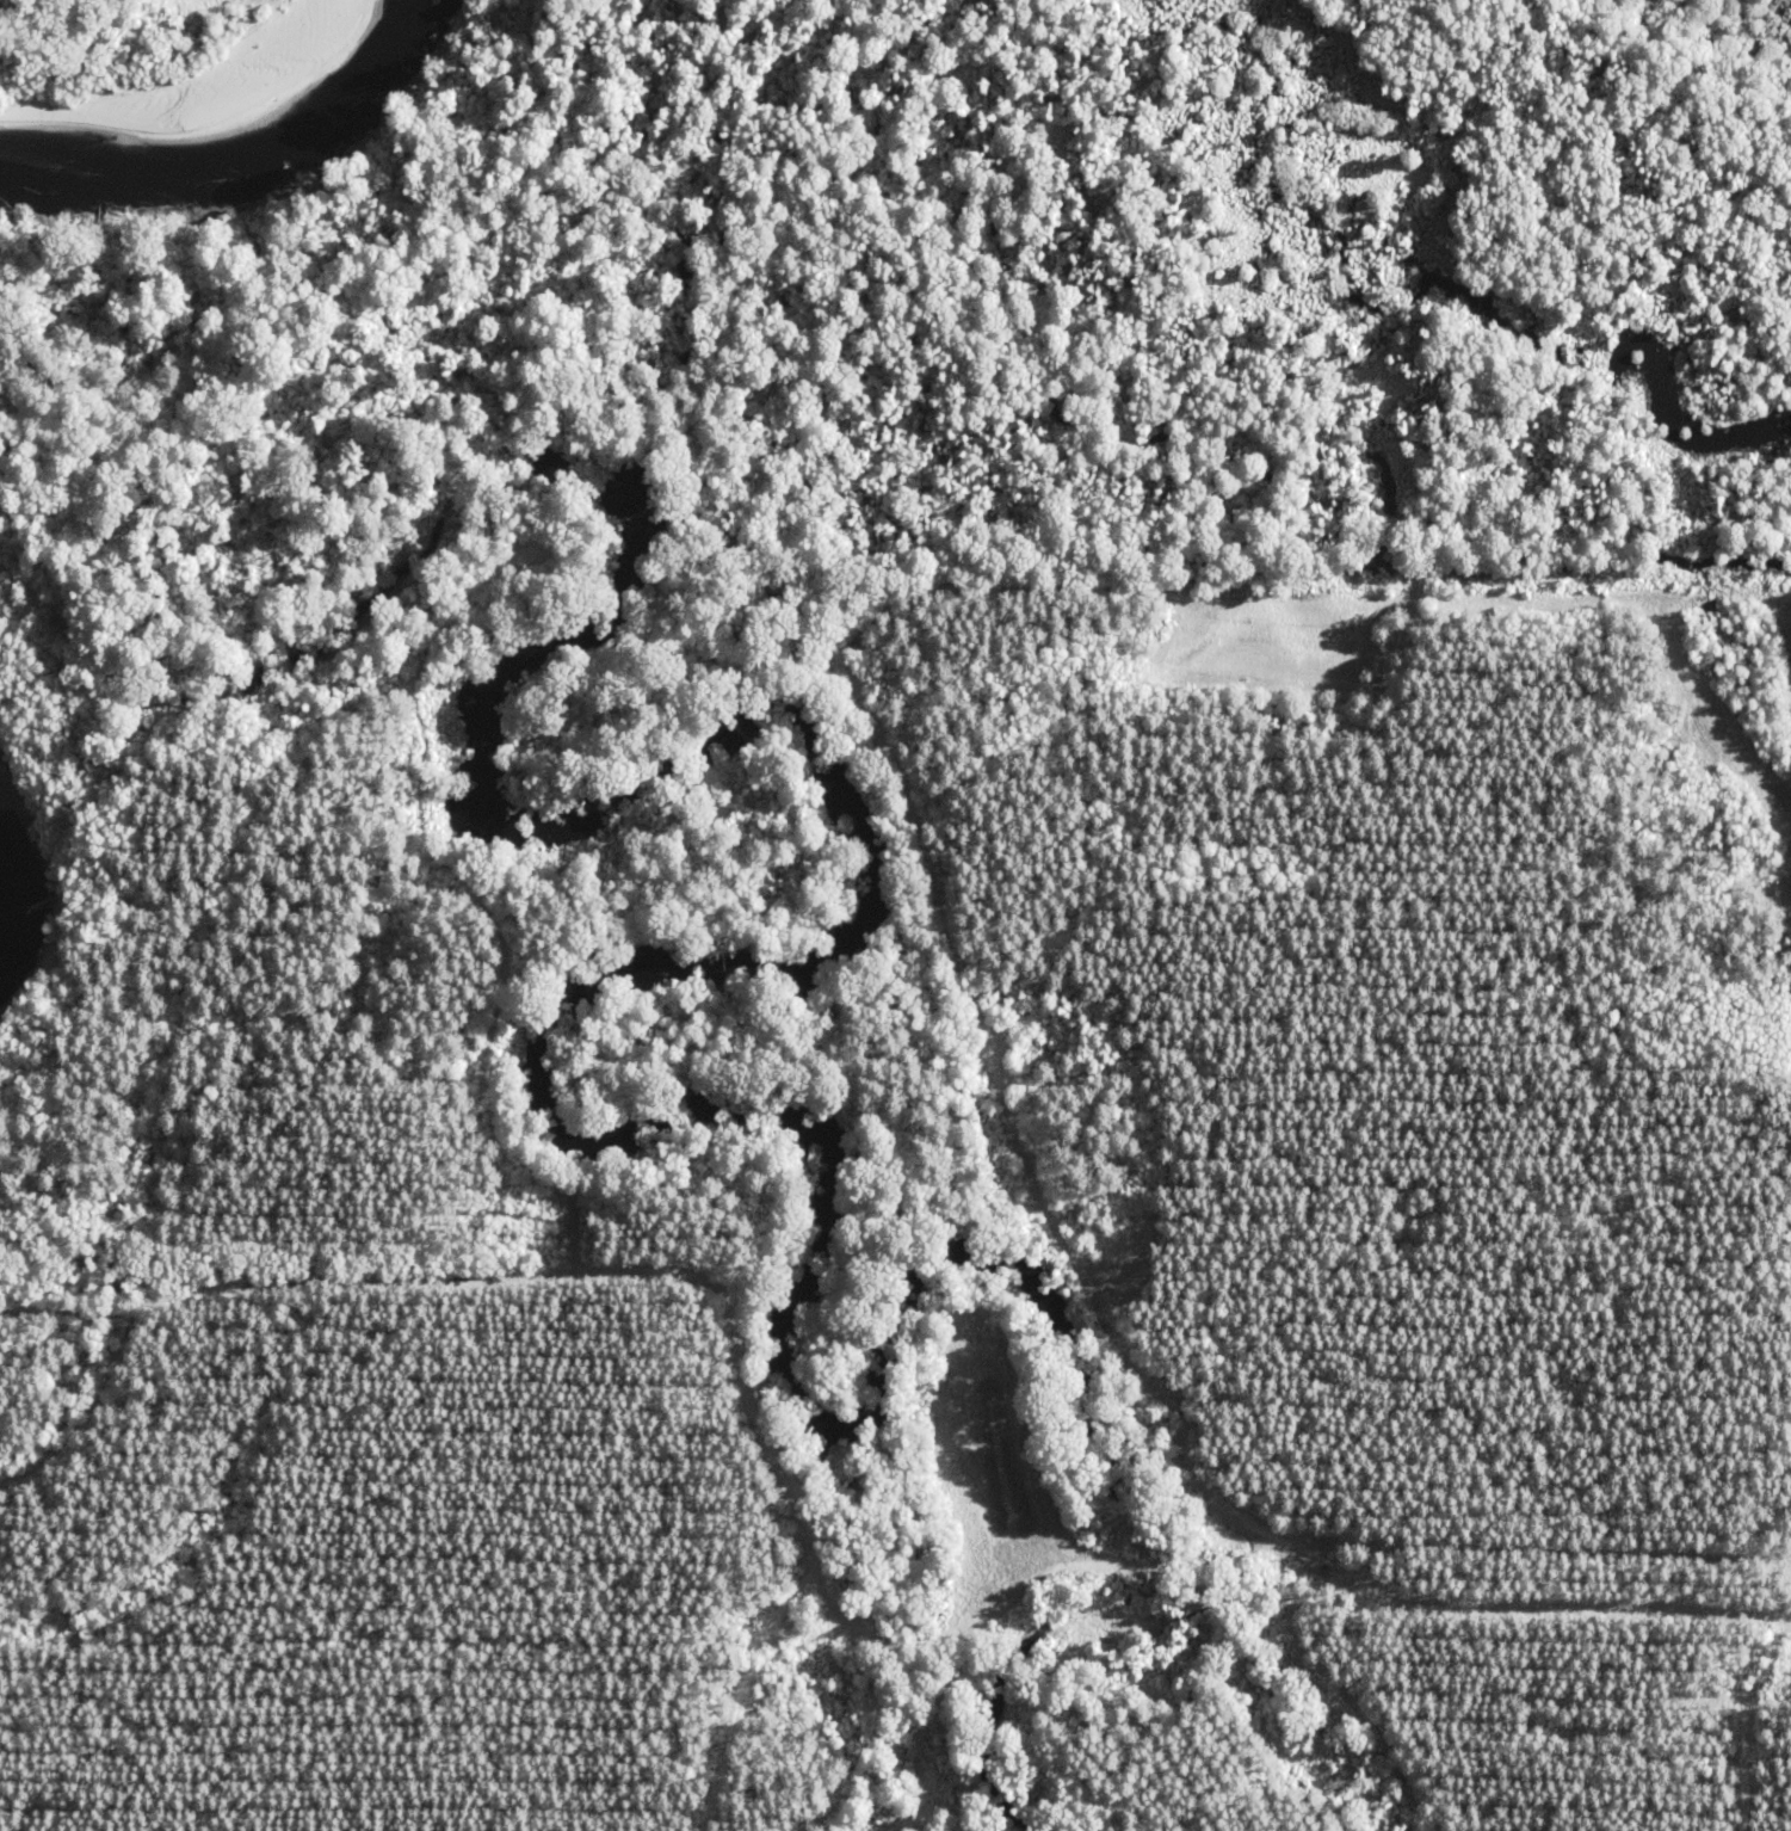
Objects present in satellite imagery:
river: (156, 61)
river: (1, 735)

